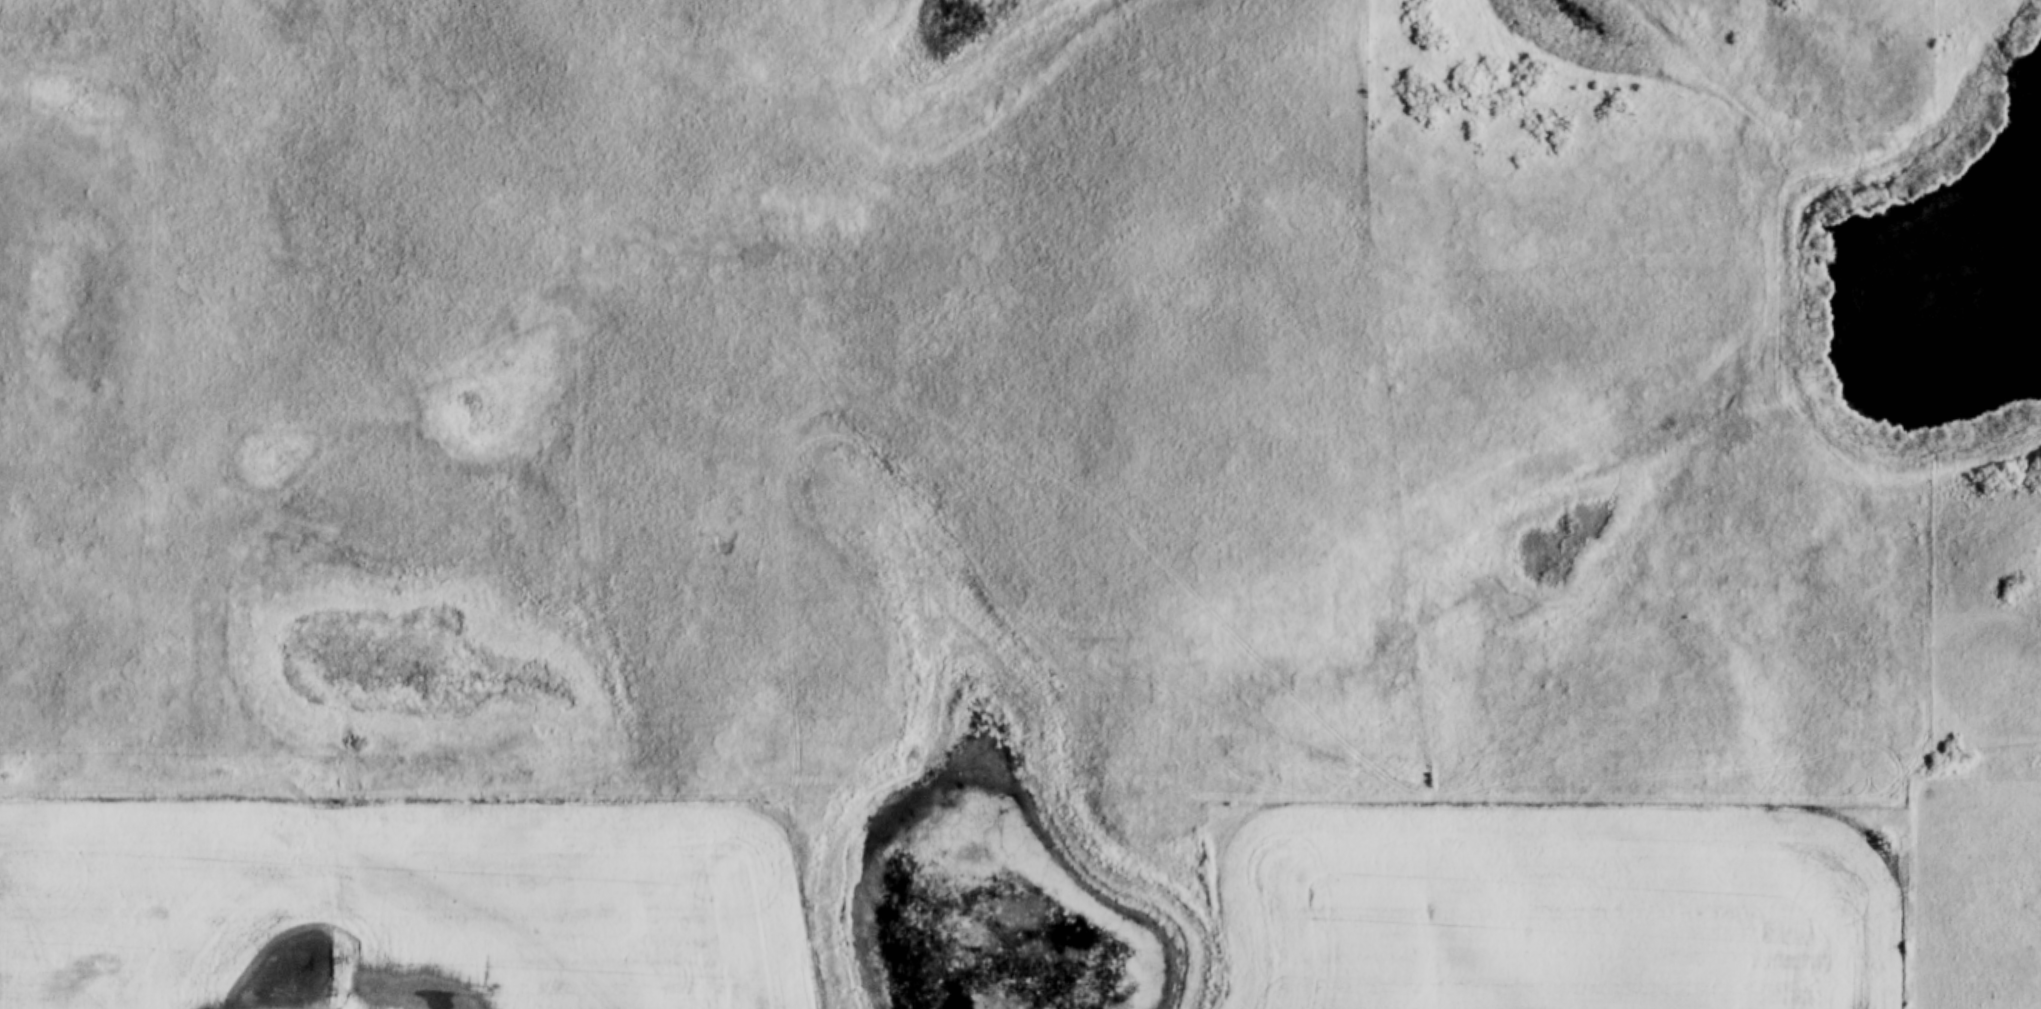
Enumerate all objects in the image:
road: (267, 781)

